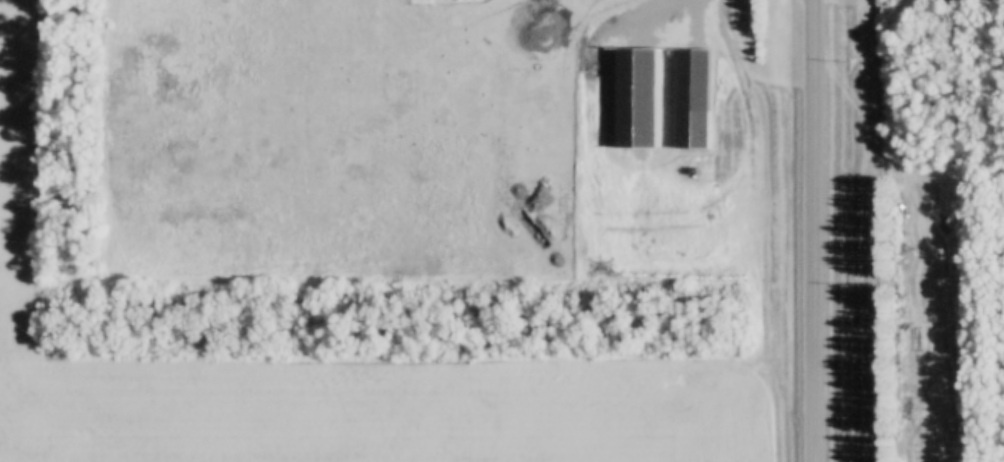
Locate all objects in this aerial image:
building: (693, 79)
road: (815, 230)

